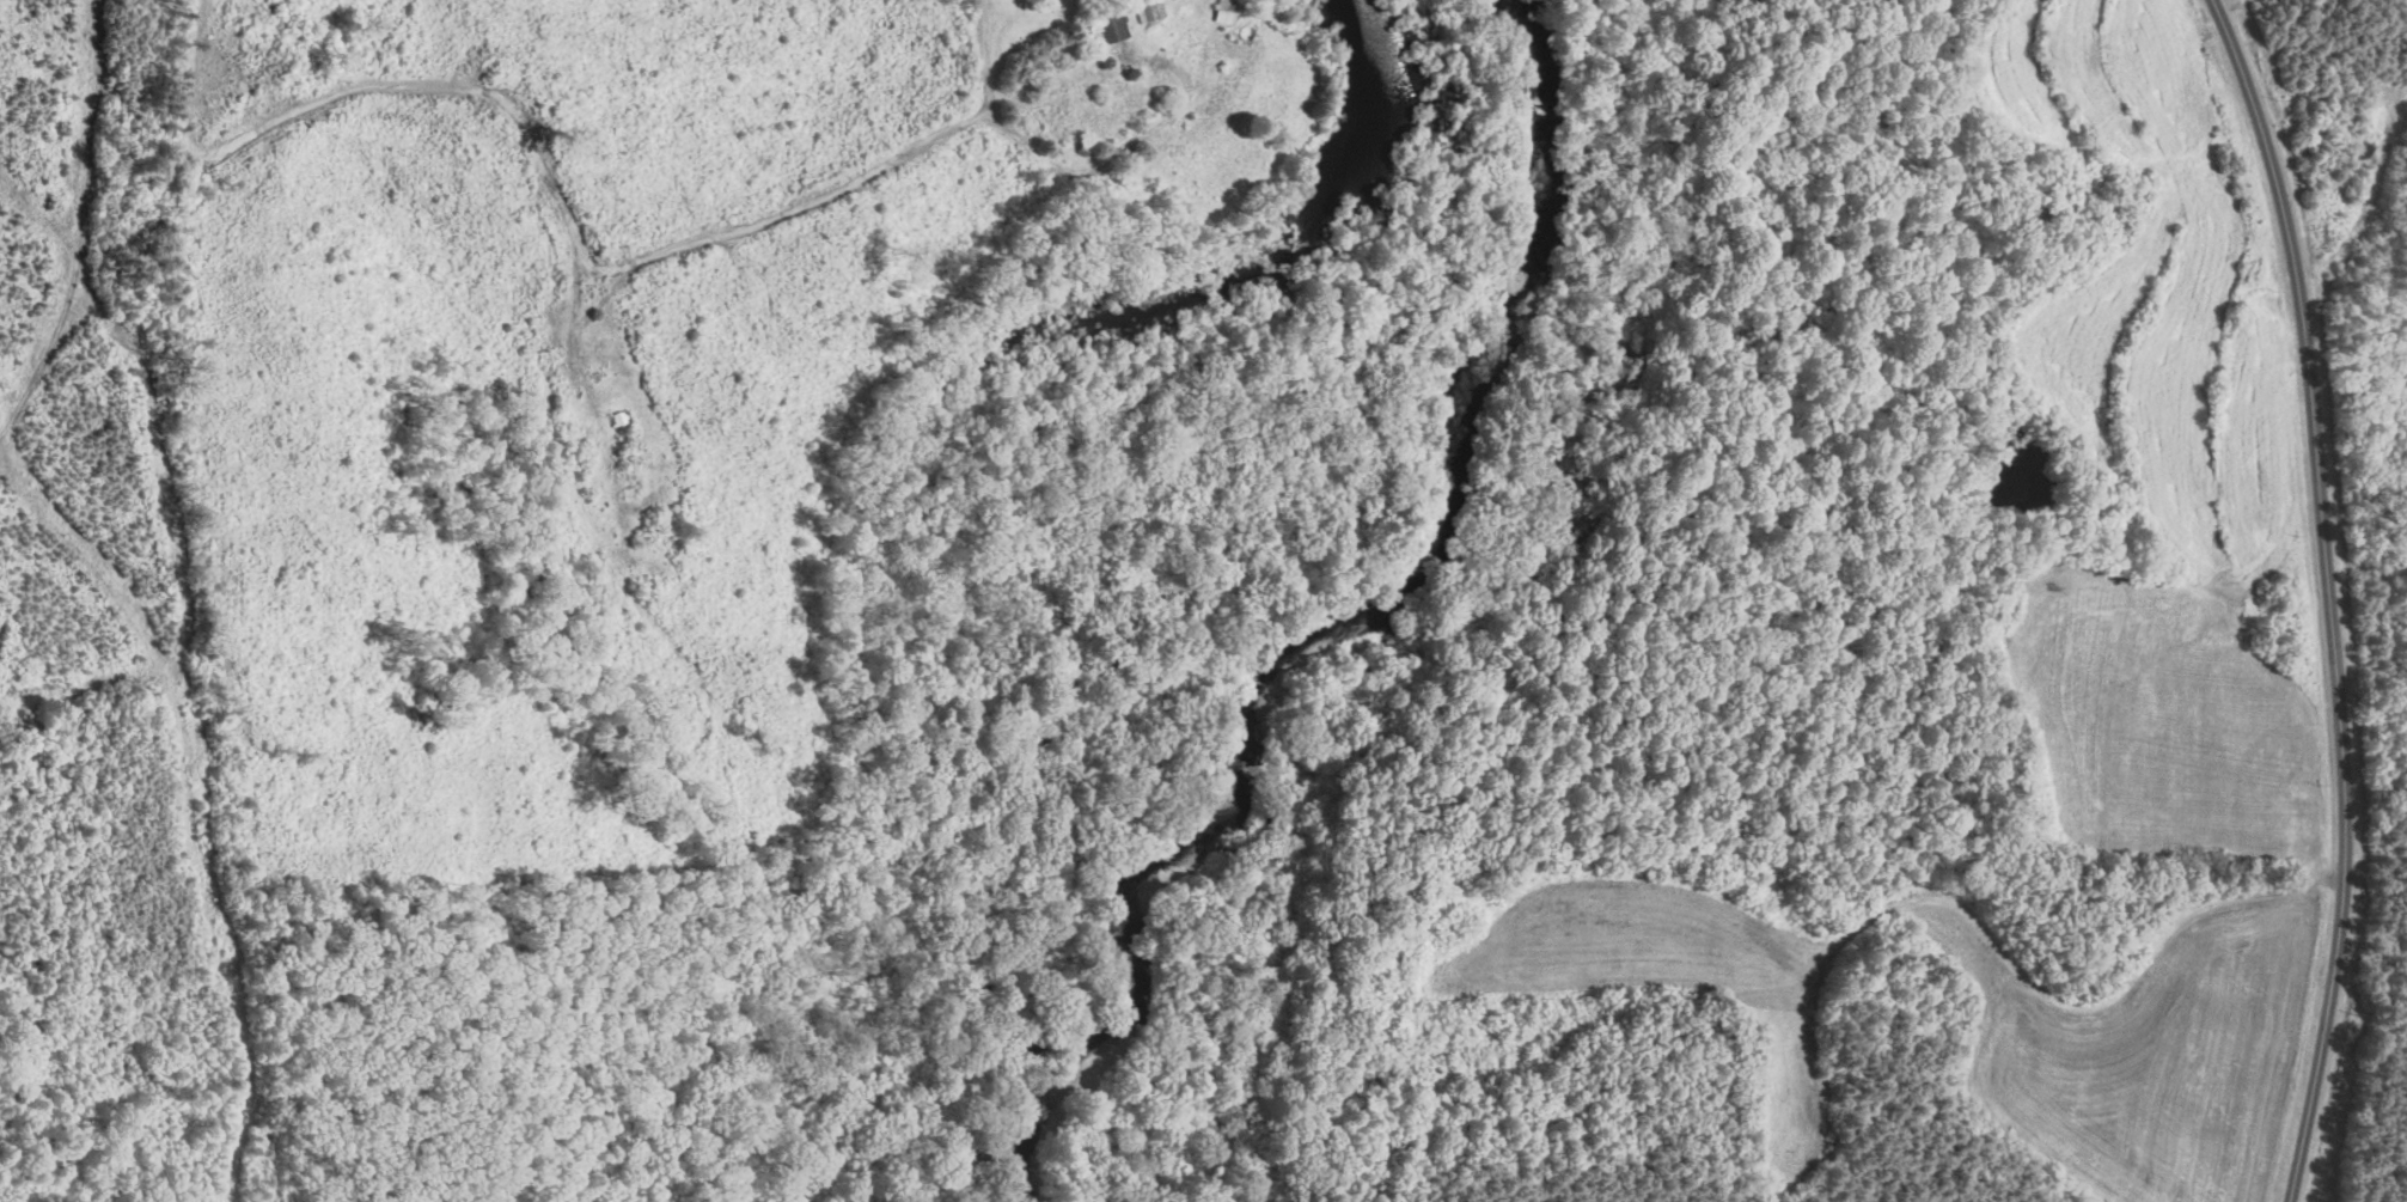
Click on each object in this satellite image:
building: (1148, 10)
building: (1223, 11)
building: (1111, 28)
road: (189, 73)
road: (1126, 148)
road: (567, 218)
road: (2330, 596)

